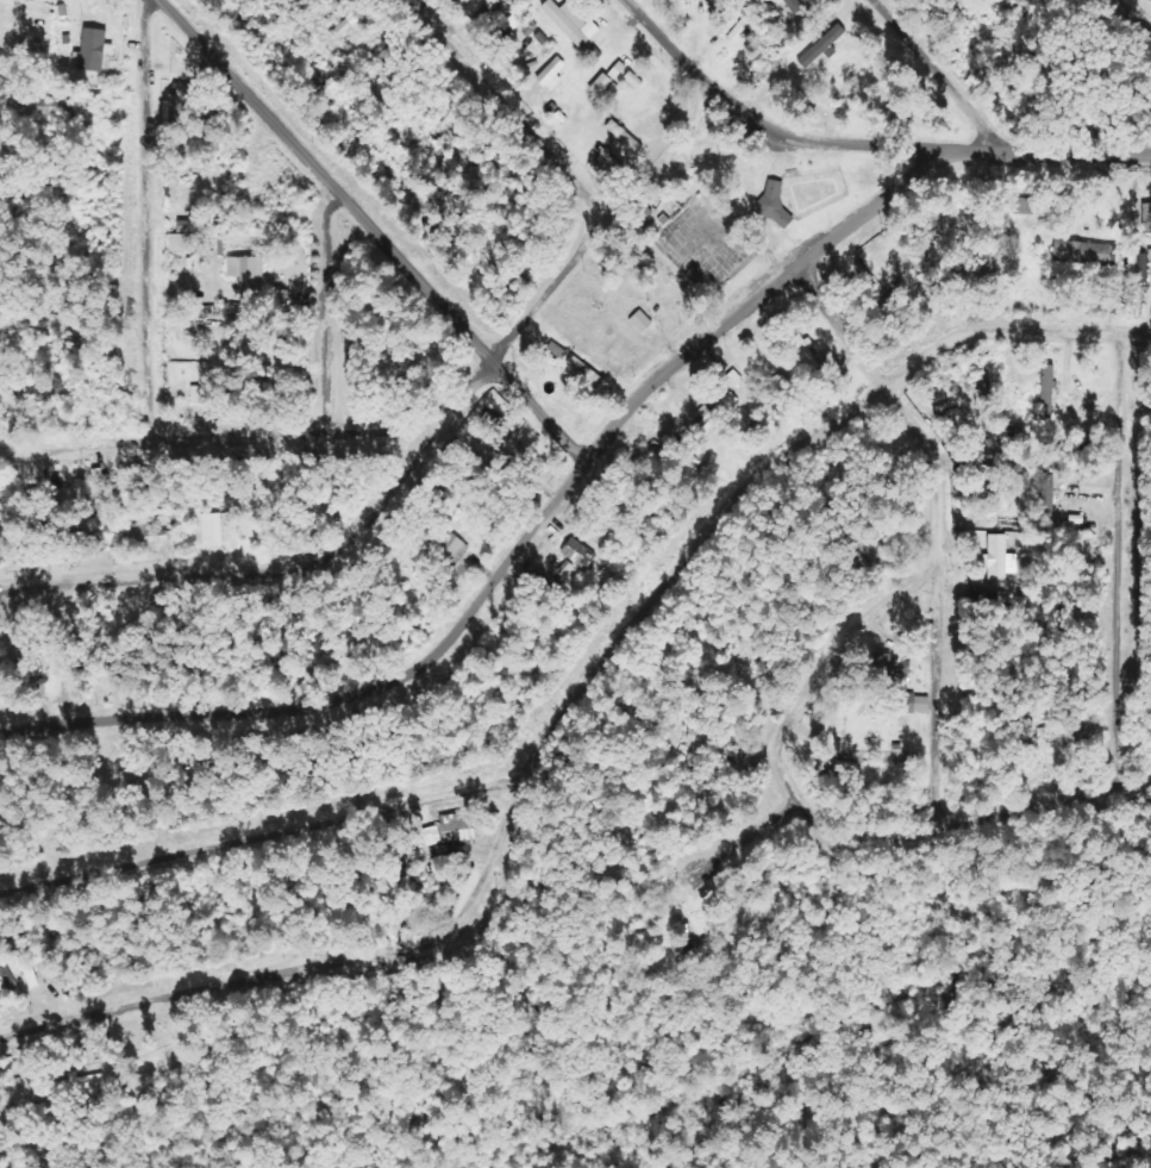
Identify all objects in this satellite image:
building: (21, 0)
building: (722, 6)
building: (794, 6)
building: (469, 8)
road: (1131, 20)
building: (571, 23)
building: (822, 45)
building: (94, 50)
building: (552, 74)
road: (952, 77)
building: (601, 85)
building: (184, 95)
road: (768, 120)
road: (1088, 156)
building: (774, 204)
road: (146, 219)
building: (1146, 220)
road: (373, 233)
building: (184, 237)
building: (1086, 252)
building: (248, 277)
road: (333, 313)
building: (642, 321)
road: (1007, 336)
building: (202, 386)
building: (1047, 389)
road: (461, 414)
road: (295, 439)
road: (87, 445)
road: (12, 454)
building: (1047, 494)
road: (545, 521)
road: (936, 526)
building: (213, 530)
building: (149, 539)
building: (578, 554)
building: (1000, 558)
road: (1119, 560)
building: (901, 685)
road: (1136, 781)
road: (499, 819)
road: (812, 819)
building: (458, 829)
road: (258, 835)
road: (738, 849)
building: (81, 1085)

